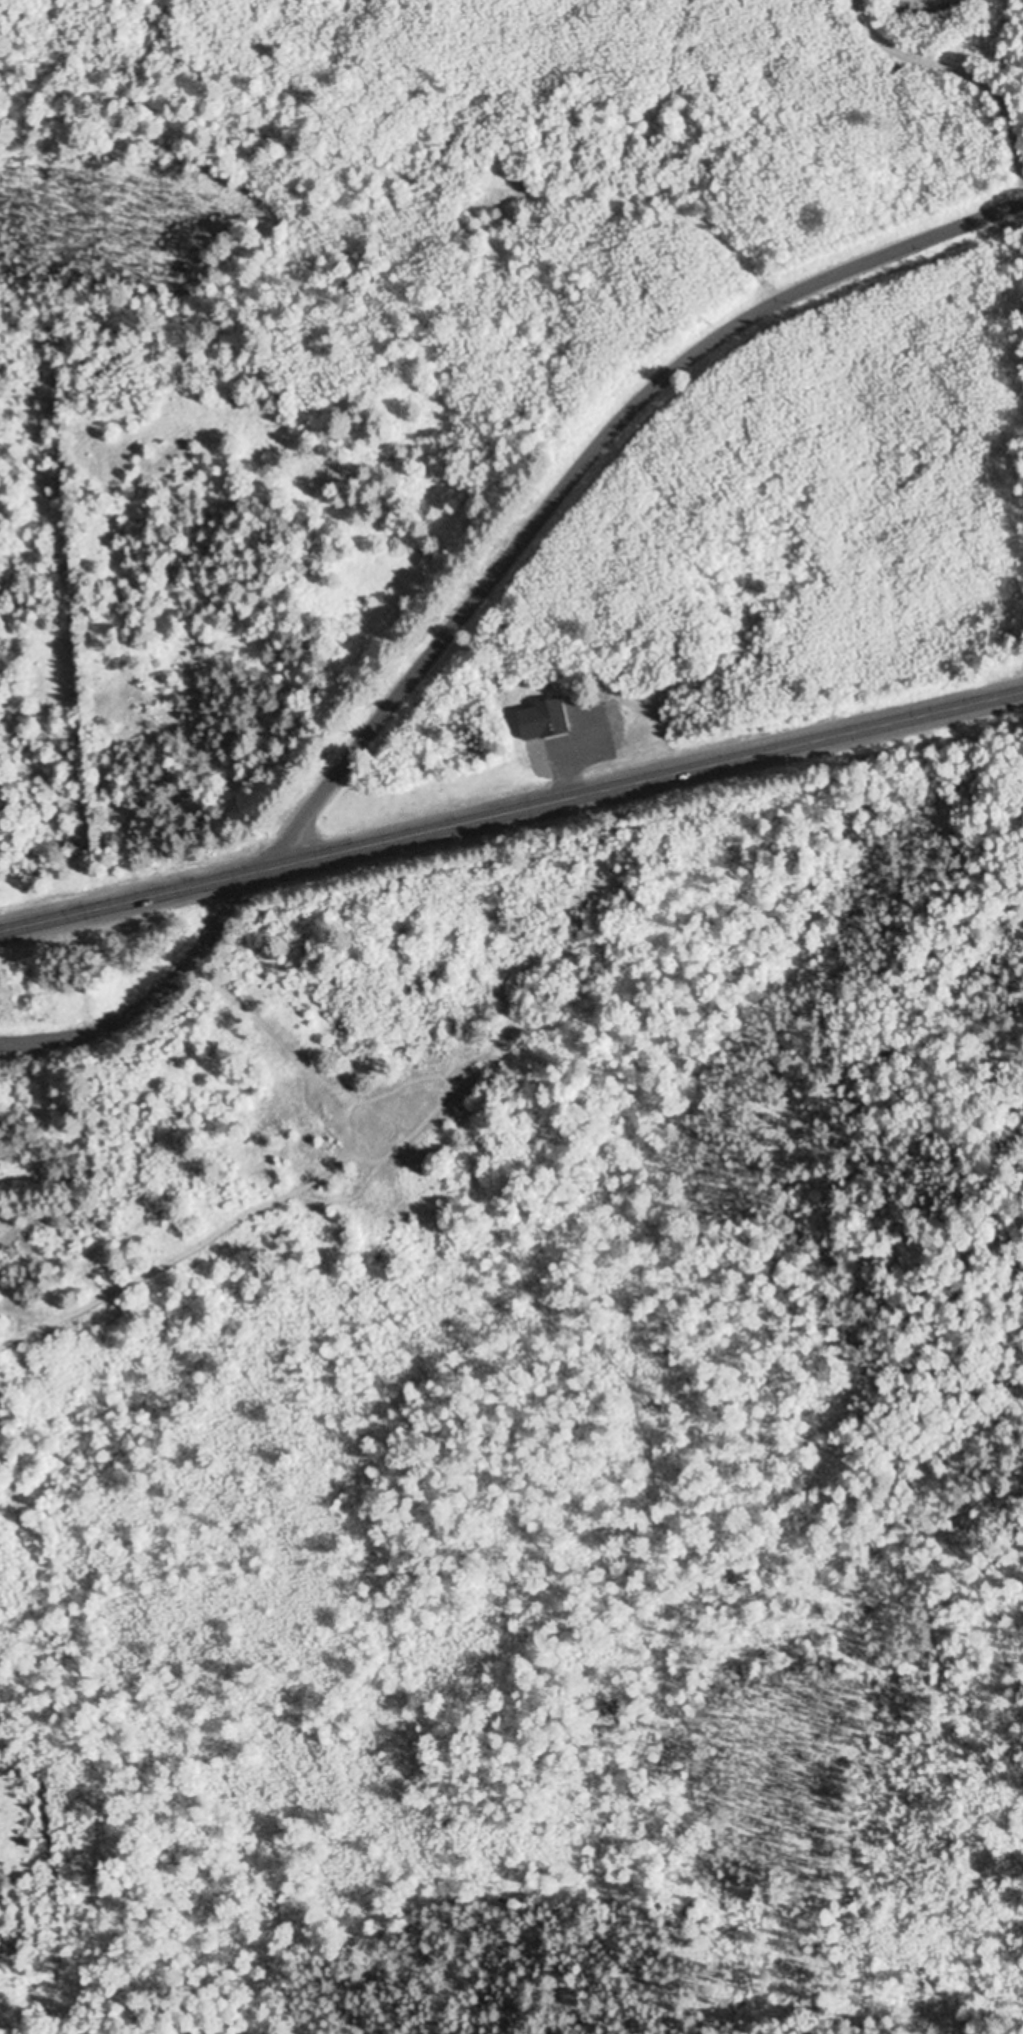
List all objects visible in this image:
road: (667, 2)
road: (962, 85)
road: (481, 594)
building: (549, 720)
road: (511, 813)

